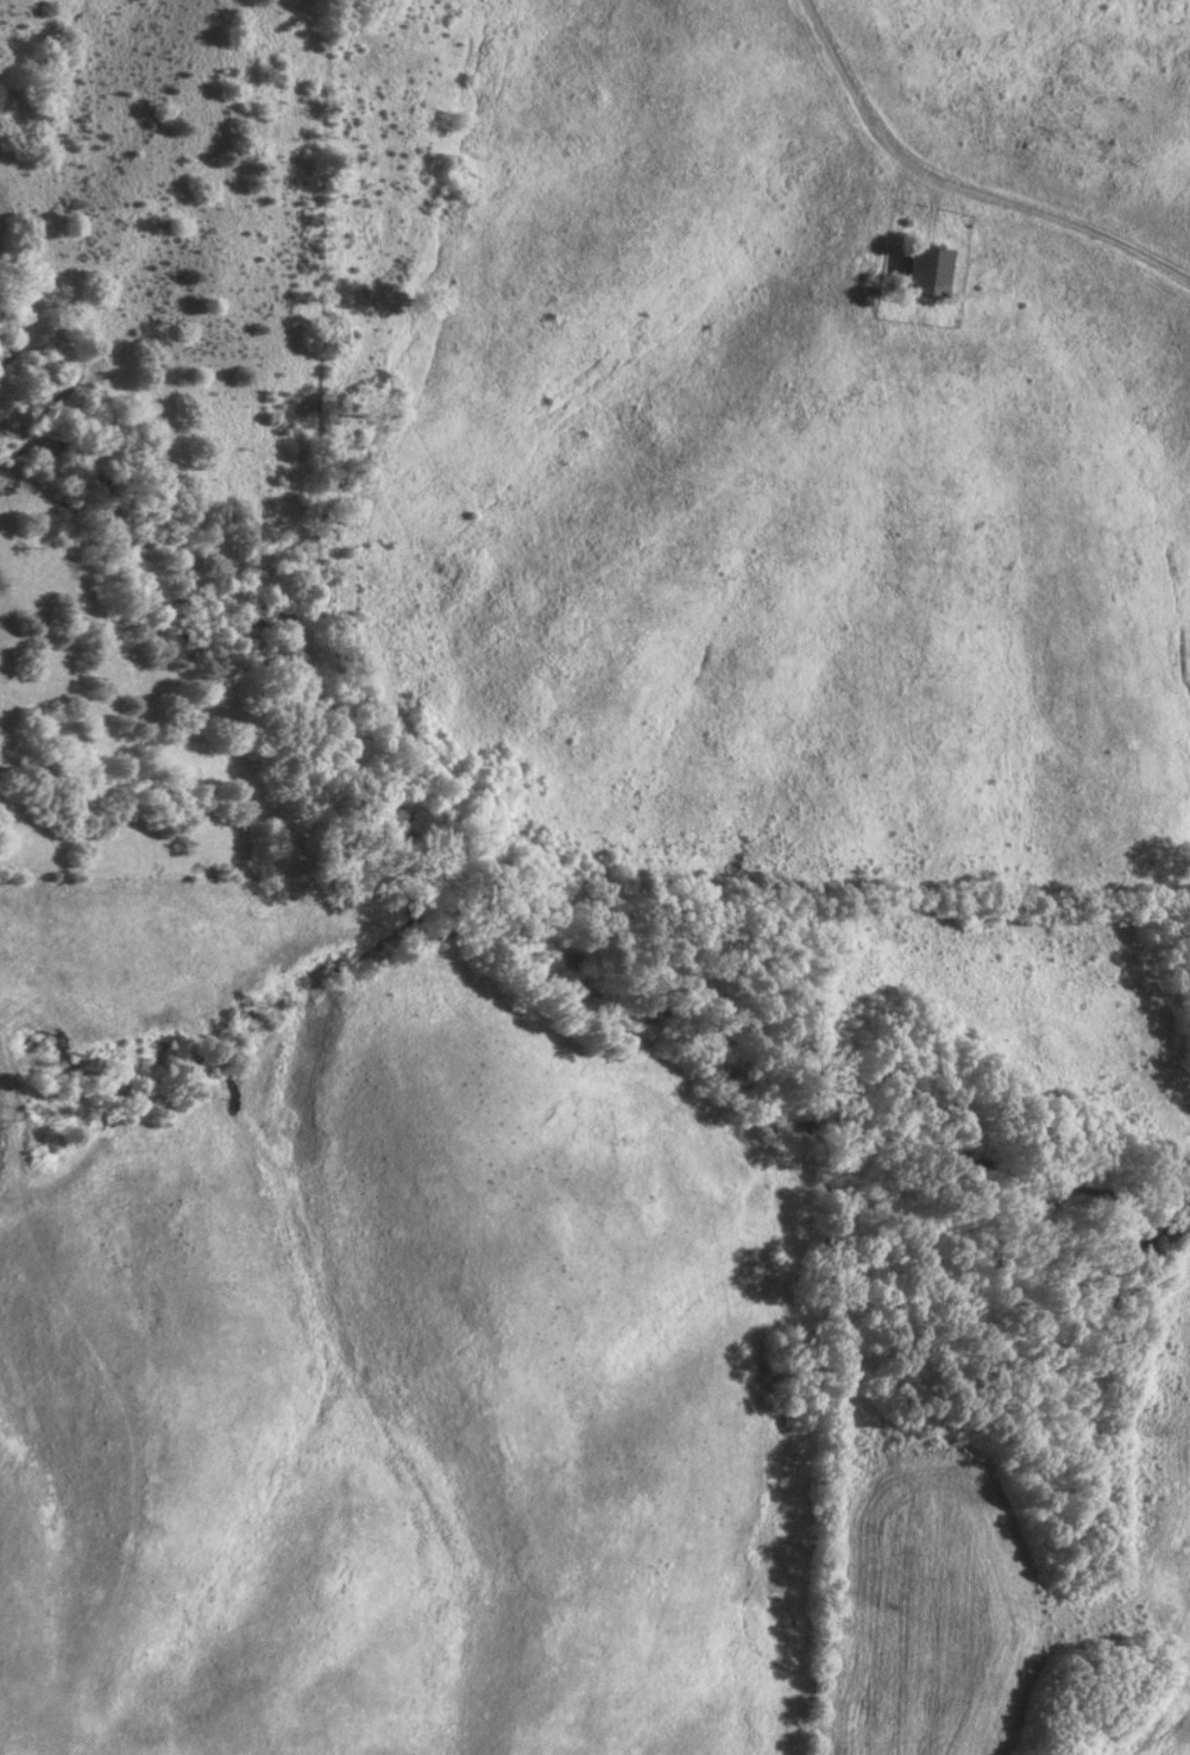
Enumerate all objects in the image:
road: (957, 183)
building: (926, 269)

